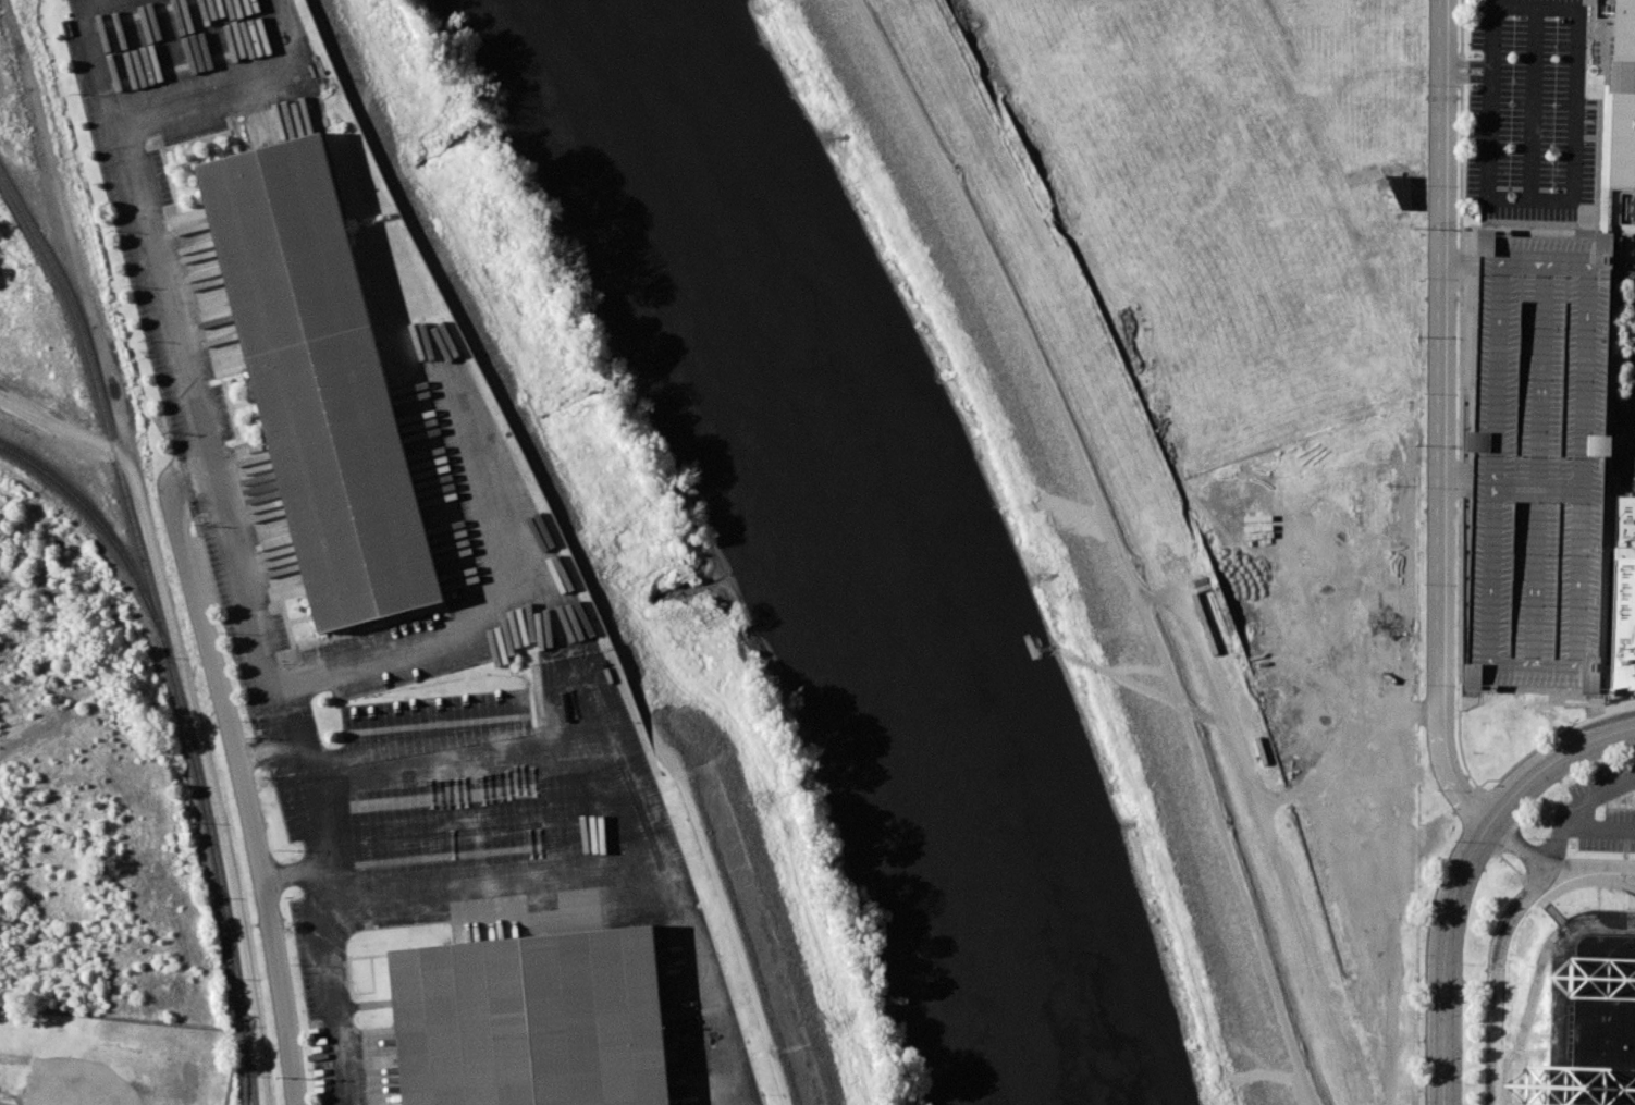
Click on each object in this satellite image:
building: (1605, 9)
road: (1464, 63)
road: (100, 66)
road: (1464, 77)
road: (254, 93)
building: (1623, 98)
parking lot: (1528, 109)
road: (1574, 140)
building: (1401, 189)
road: (160, 293)
building: (1540, 380)
parking lot: (1626, 384)
building: (319, 385)
road: (1437, 421)
road: (62, 428)
parking lot: (1540, 462)
road: (193, 465)
road: (1631, 466)
road: (177, 489)
parking lot: (481, 518)
railway: (108, 535)
road: (1116, 540)
river: (856, 541)
road: (151, 548)
building: (1624, 589)
railway: (155, 603)
road: (623, 661)
road: (370, 663)
building: (1473, 676)
building: (1634, 685)
road: (1397, 711)
road: (280, 721)
road: (634, 764)
road: (246, 800)
parking lot: (1597, 811)
road: (1556, 861)
road: (1460, 869)
road: (288, 880)
road: (494, 884)
road: (1546, 894)
building: (1631, 895)
road: (315, 896)
road: (1498, 966)
road: (1542, 981)
road: (1508, 1006)
building: (531, 1020)
building: (1593, 1030)
stadium: (1593, 1030)
railway: (248, 1079)
railway: (250, 1079)

